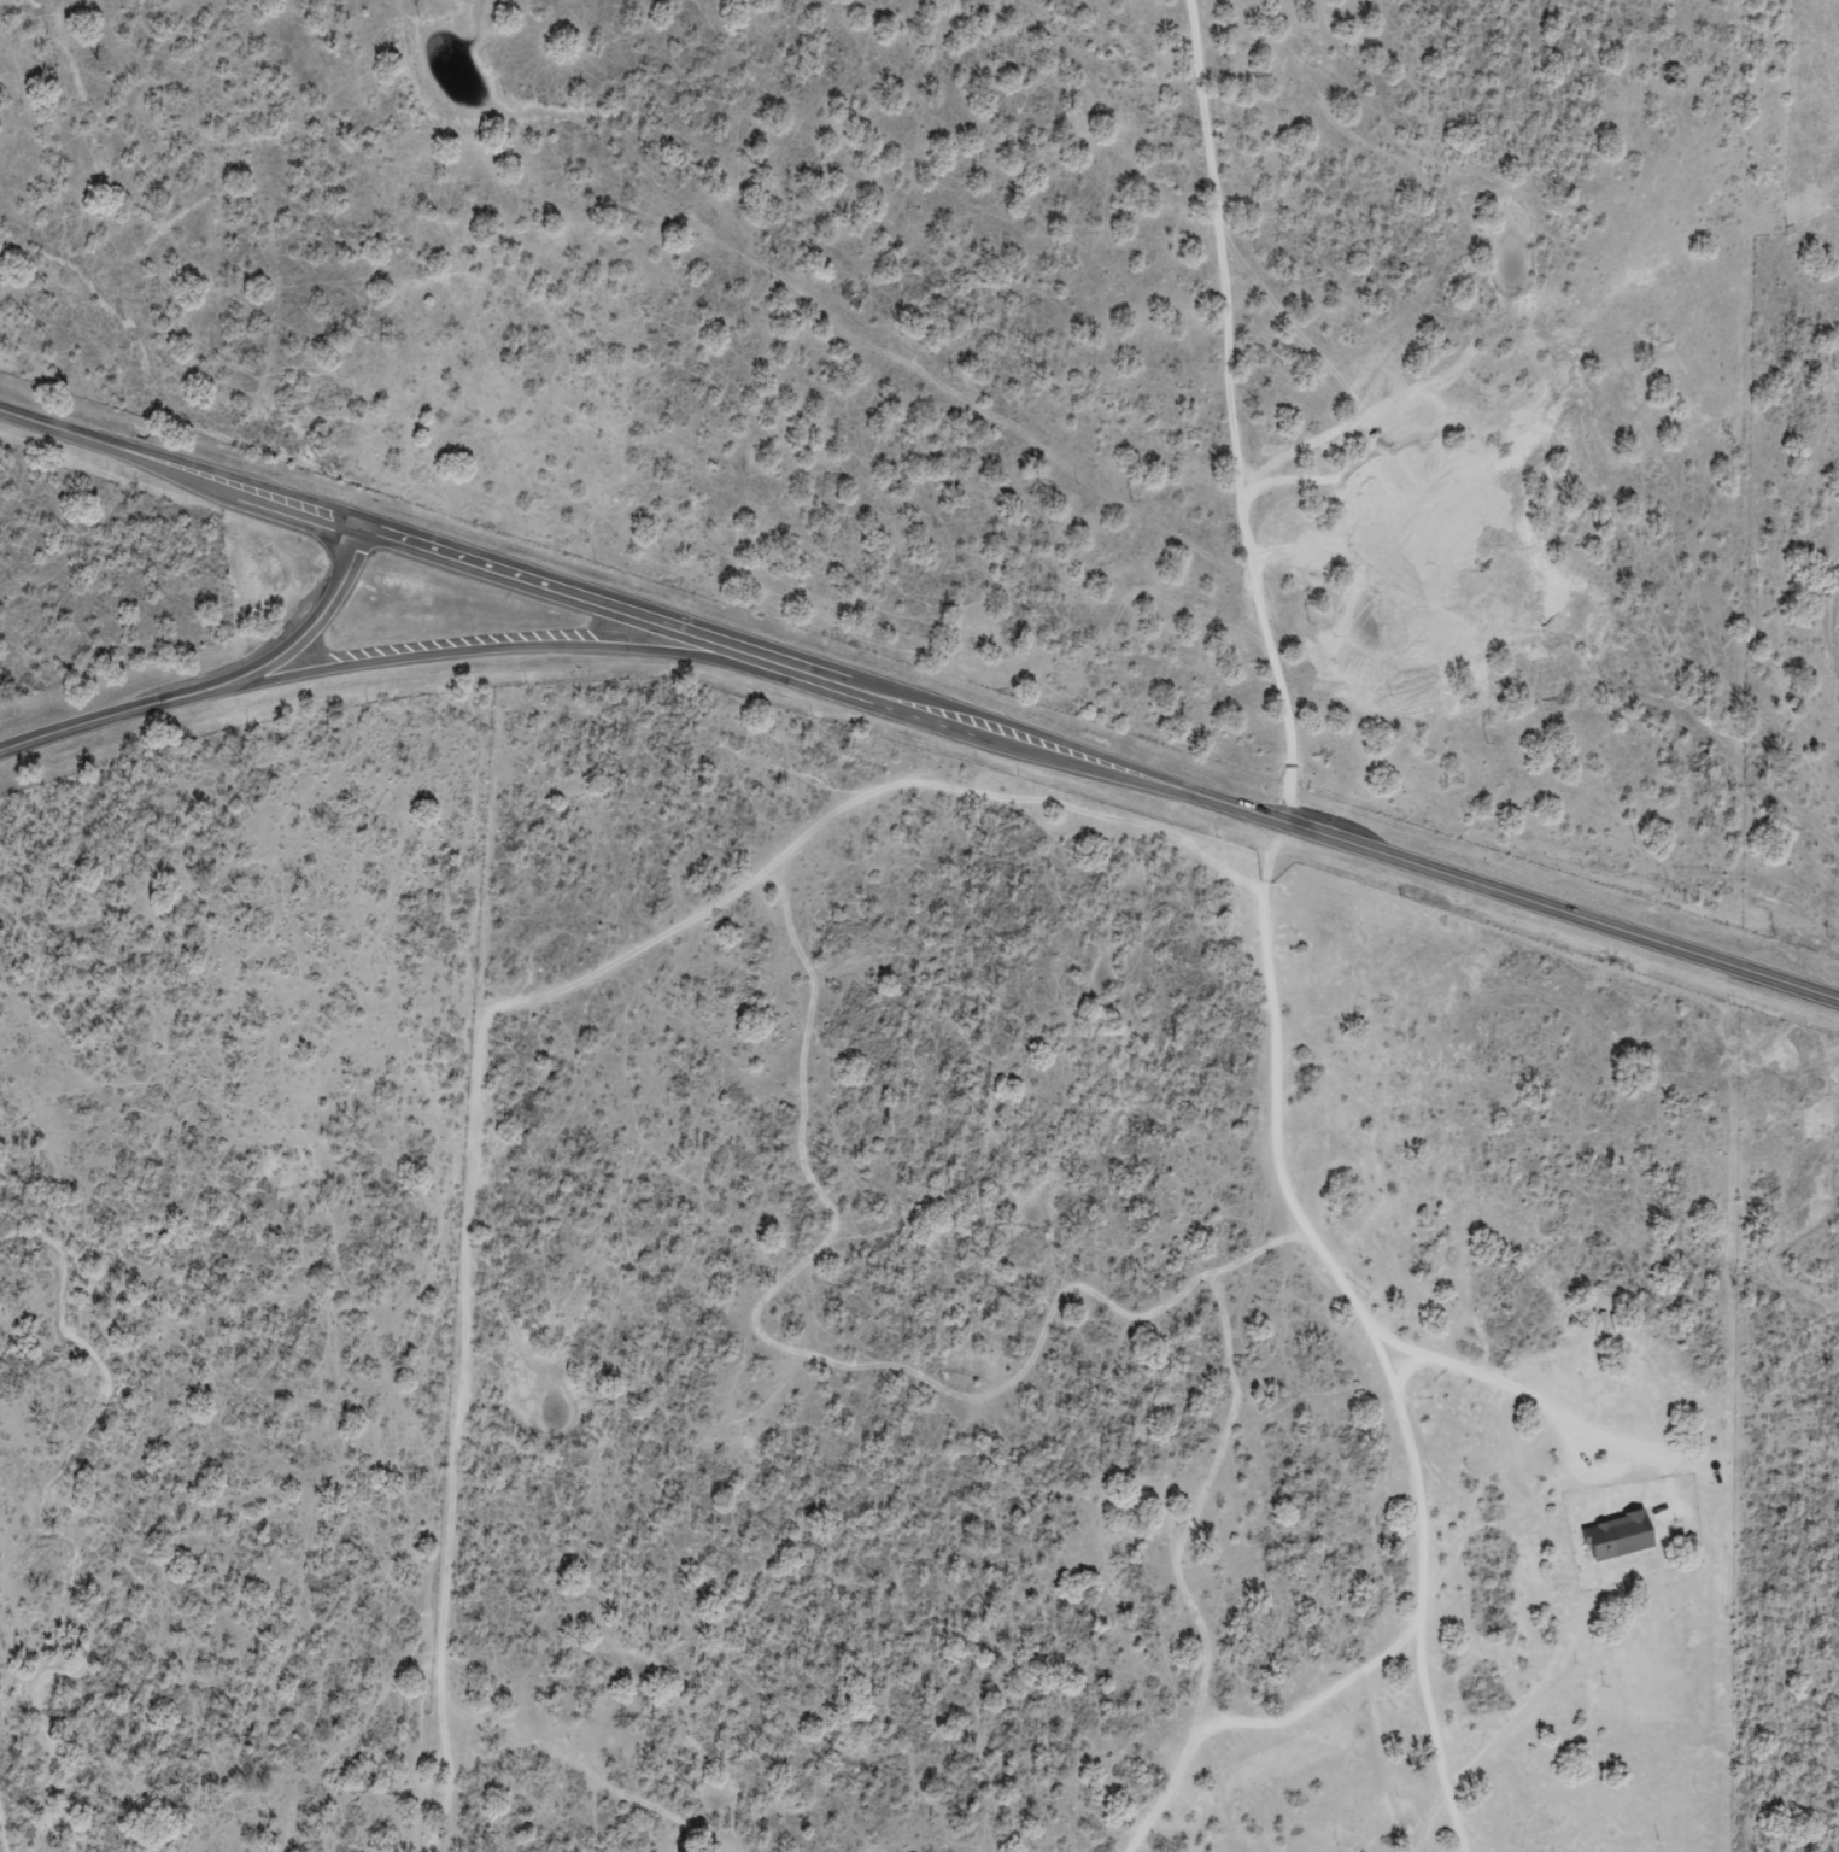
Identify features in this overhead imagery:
road: (1509, 212)
road: (1257, 411)
road: (182, 468)
road: (596, 600)
road: (308, 631)
road: (515, 644)
road: (101, 717)
road: (1333, 837)
road: (1328, 1320)

